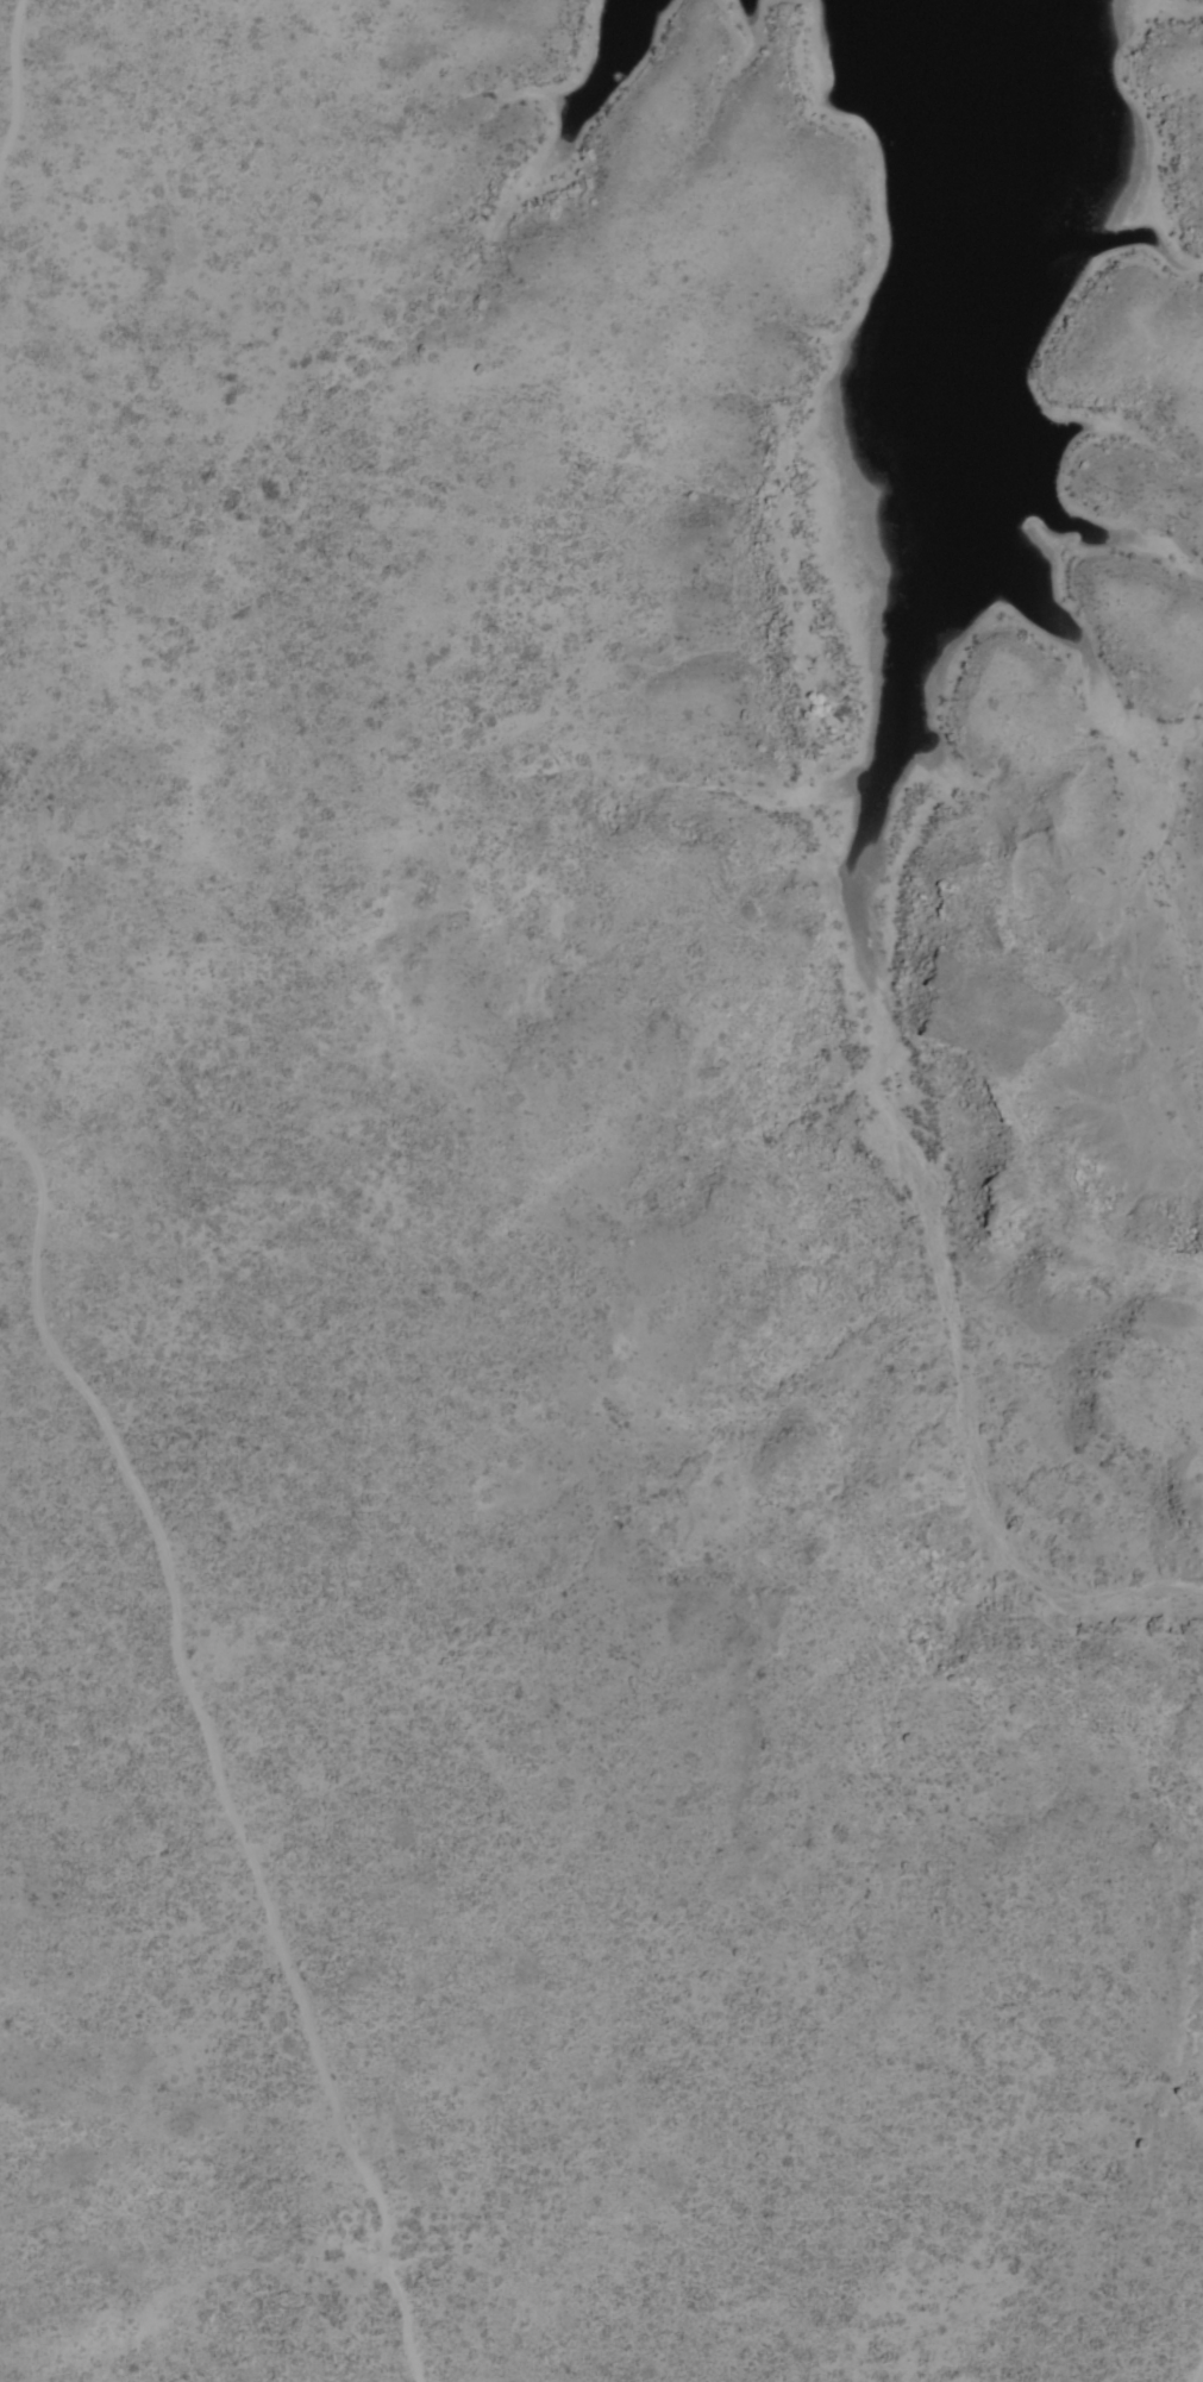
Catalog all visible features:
road: (1176, 2338)

